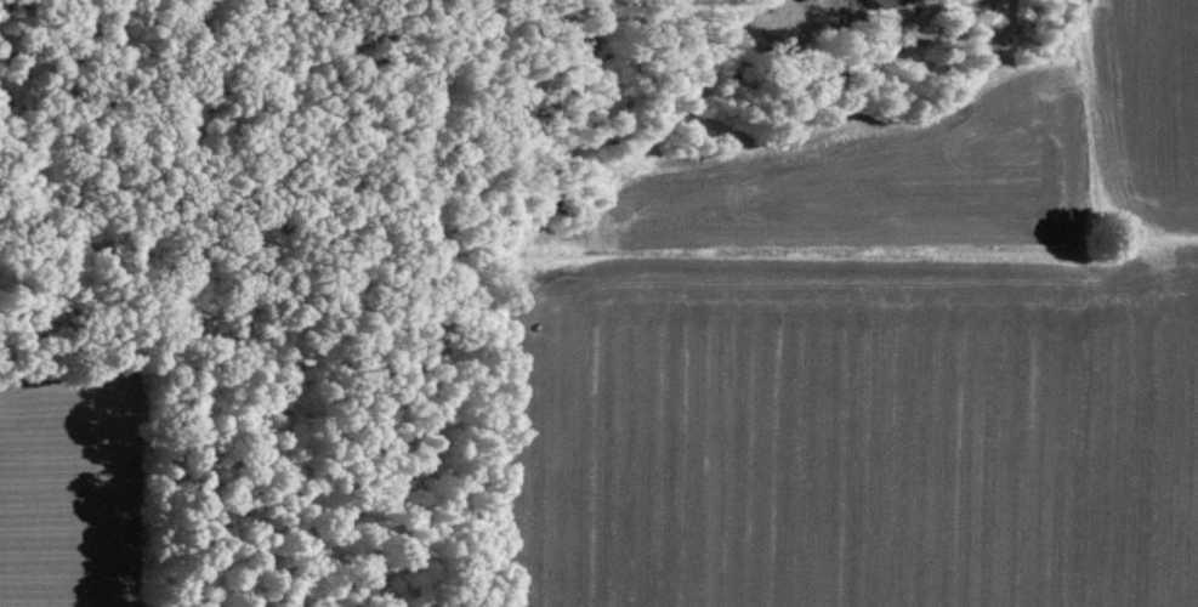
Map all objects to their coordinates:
building: (881, 4)

